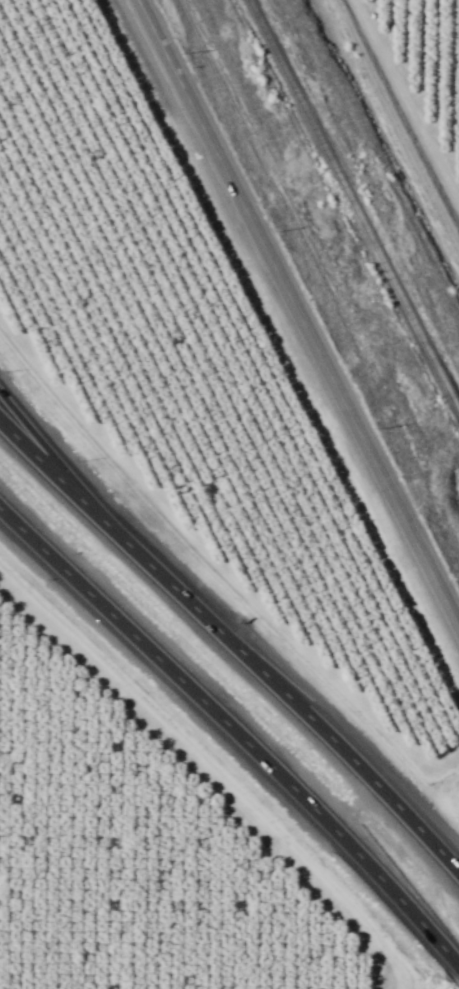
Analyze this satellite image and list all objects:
road: (410, 94)
road: (396, 122)
railway: (353, 206)
road: (297, 315)
road: (48, 446)
road: (234, 633)
road: (234, 728)
road: (213, 768)

